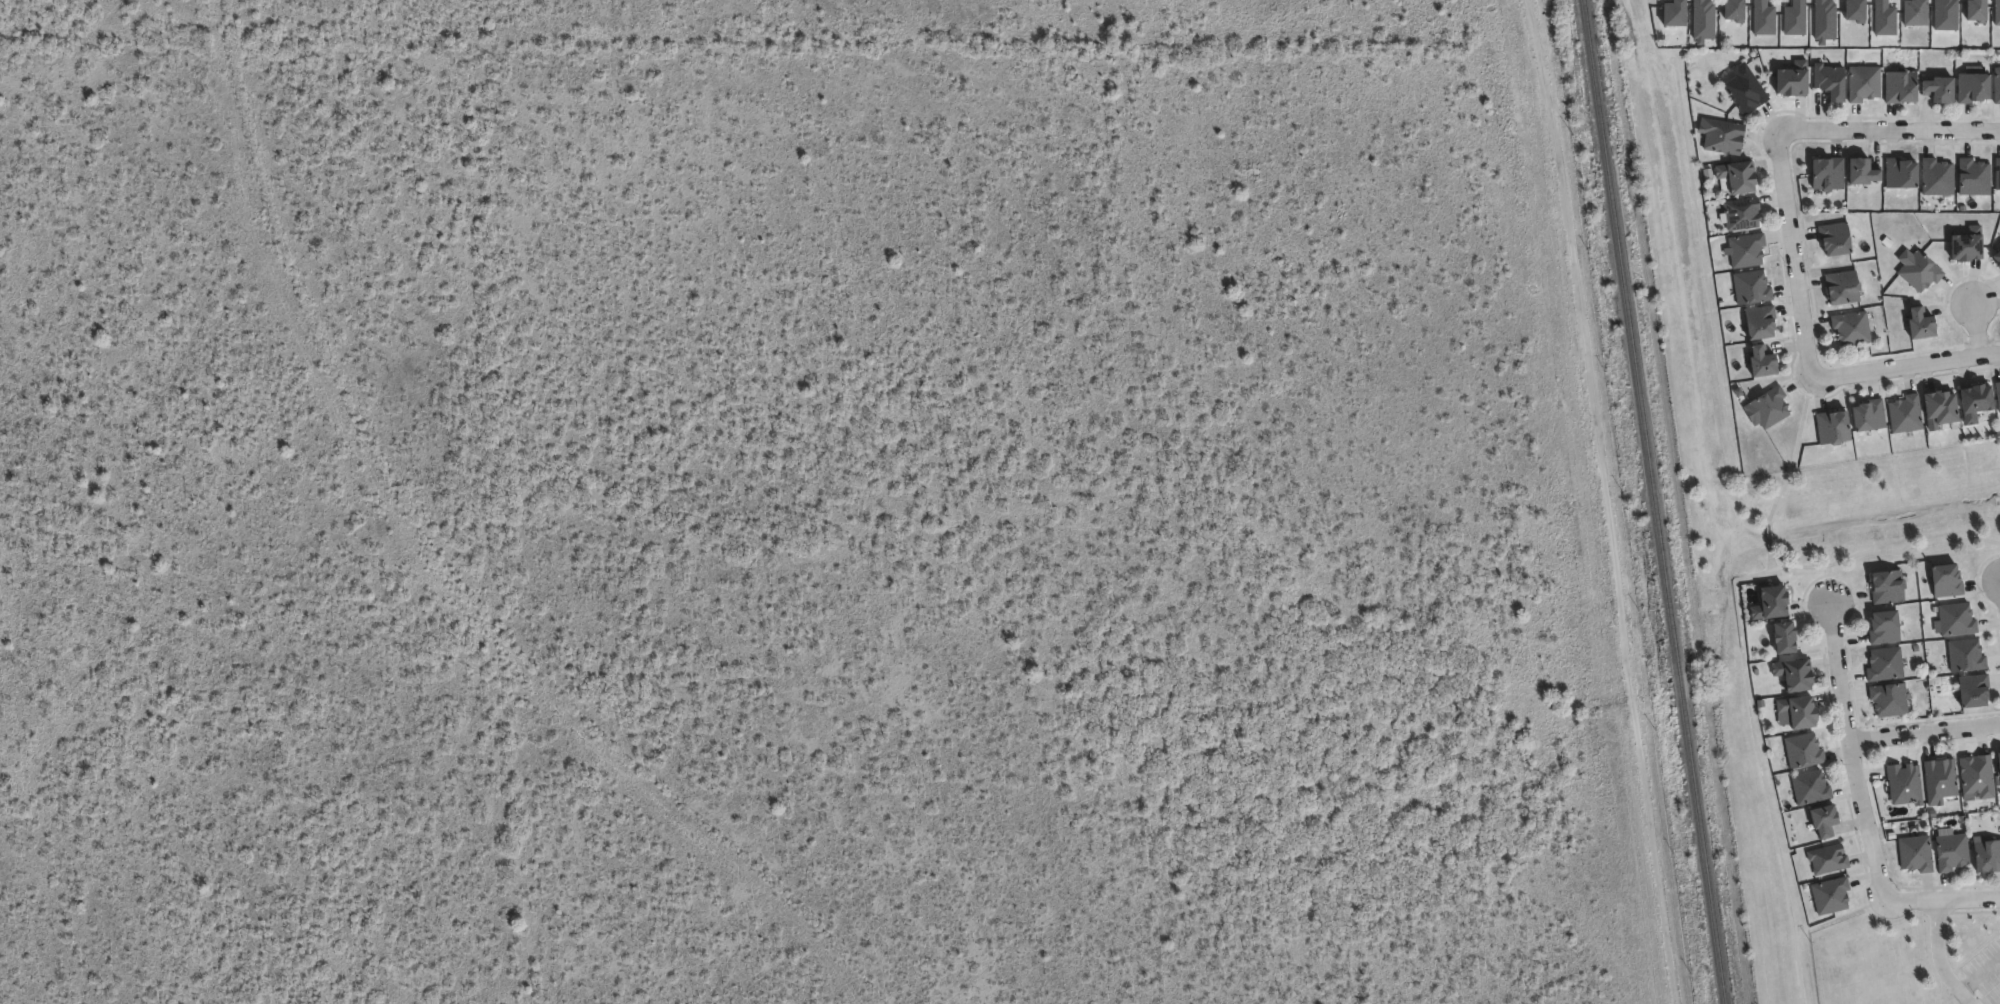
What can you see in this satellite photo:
building: (1735, 10)
building: (1856, 10)
building: (1977, 10)
building: (1916, 12)
building: (1997, 12)
building: (1675, 13)
building: (1946, 15)
building: (1763, 18)
building: (1795, 18)
building: (1884, 18)
building: (1703, 20)
building: (1824, 21)
building: (1790, 80)
building: (1828, 82)
building: (1863, 84)
building: (1996, 86)
building: (1899, 88)
building: (1972, 88)
building: (1743, 90)
building: (1936, 90)
road: (1888, 132)
building: (1721, 136)
building: (1859, 173)
building: (1826, 174)
building: (1899, 174)
building: (1997, 175)
building: (1936, 177)
building: (1735, 178)
building: (1972, 178)
building: (1740, 215)
building: (1833, 239)
building: (1965, 244)
building: (1745, 250)
road: (1794, 257)
building: (1996, 261)
building: (1919, 272)
building: (1840, 288)
building: (1750, 289)
building: (1758, 323)
building: (1919, 326)
road: (1981, 327)
building: (1851, 329)
building: (1758, 362)
road: (1905, 367)
building: (1997, 394)
building: (1974, 400)
building: (1937, 407)
building: (1767, 408)
building: (1904, 413)
building: (1867, 414)
building: (1831, 427)
road: (1601, 501)
railway: (1660, 502)
park: (1848, 510)
building: (1945, 580)
building: (1887, 586)
building: (1769, 602)
building: (1955, 619)
building: (1883, 627)
building: (1782, 637)
building: (1965, 655)
road: (1741, 657)
building: (1884, 664)
road: (1837, 667)
building: (1791, 674)
building: (1972, 690)
building: (1888, 699)
building: (1795, 712)
road: (1924, 730)
building: (1802, 751)
building: (1998, 763)
building: (1977, 776)
building: (1939, 780)
building: (1904, 784)
building: (1809, 788)
building: (1822, 821)
road: (1866, 821)
building: (1950, 850)
building: (1915, 853)
building: (1986, 856)
building: (1828, 860)
building: (1830, 896)
road: (1942, 899)
road: (1939, 956)
road: (1978, 972)

